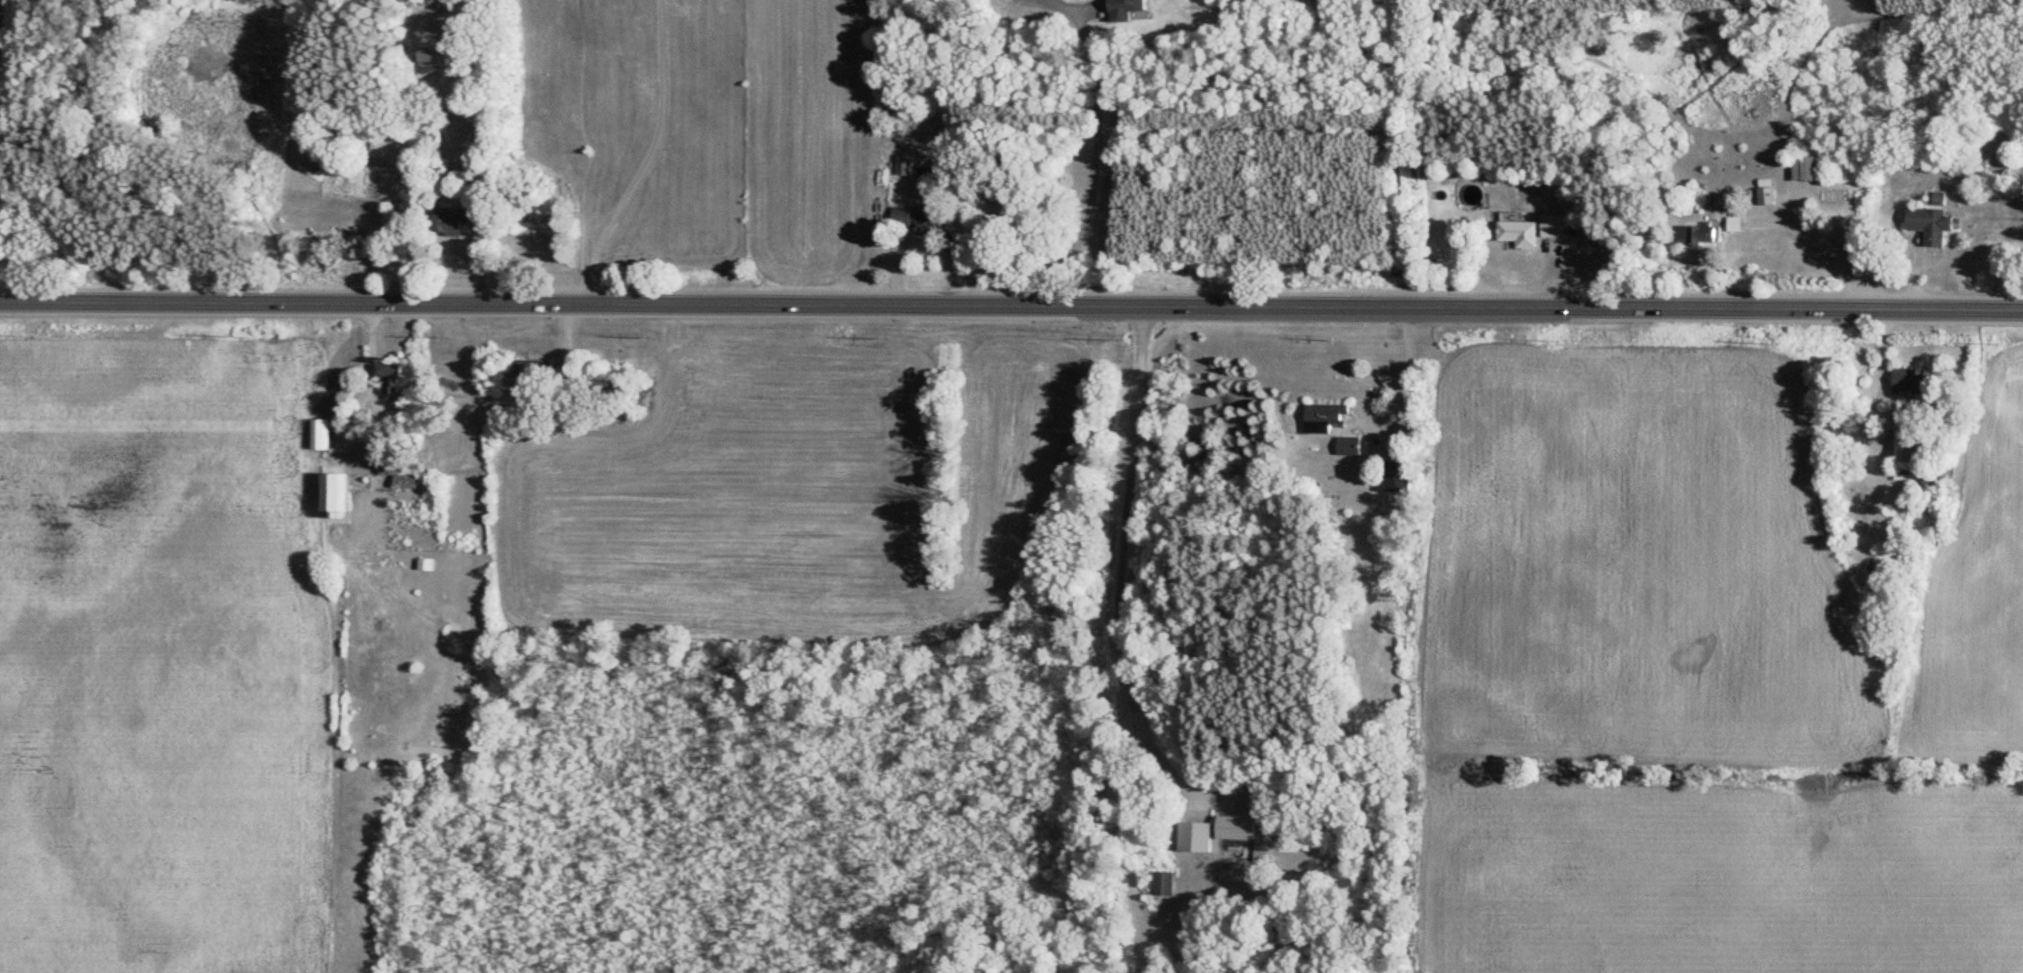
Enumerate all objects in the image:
building: (429, 54)
road: (1092, 156)
road: (642, 158)
building: (900, 167)
building: (1803, 167)
building: (1761, 197)
building: (1935, 199)
building: (904, 222)
building: (1925, 226)
building: (1527, 230)
building: (1697, 237)
road: (1826, 241)
road: (1011, 307)
building: (529, 369)
road: (1404, 379)
building: (1902, 381)
building: (385, 382)
road: (378, 415)
building: (1320, 418)
road: (1889, 420)
building: (1900, 446)
building: (1345, 447)
building: (1393, 477)
building: (355, 490)
road: (1120, 563)
building: (1231, 829)
building: (1191, 839)
building: (1160, 885)

